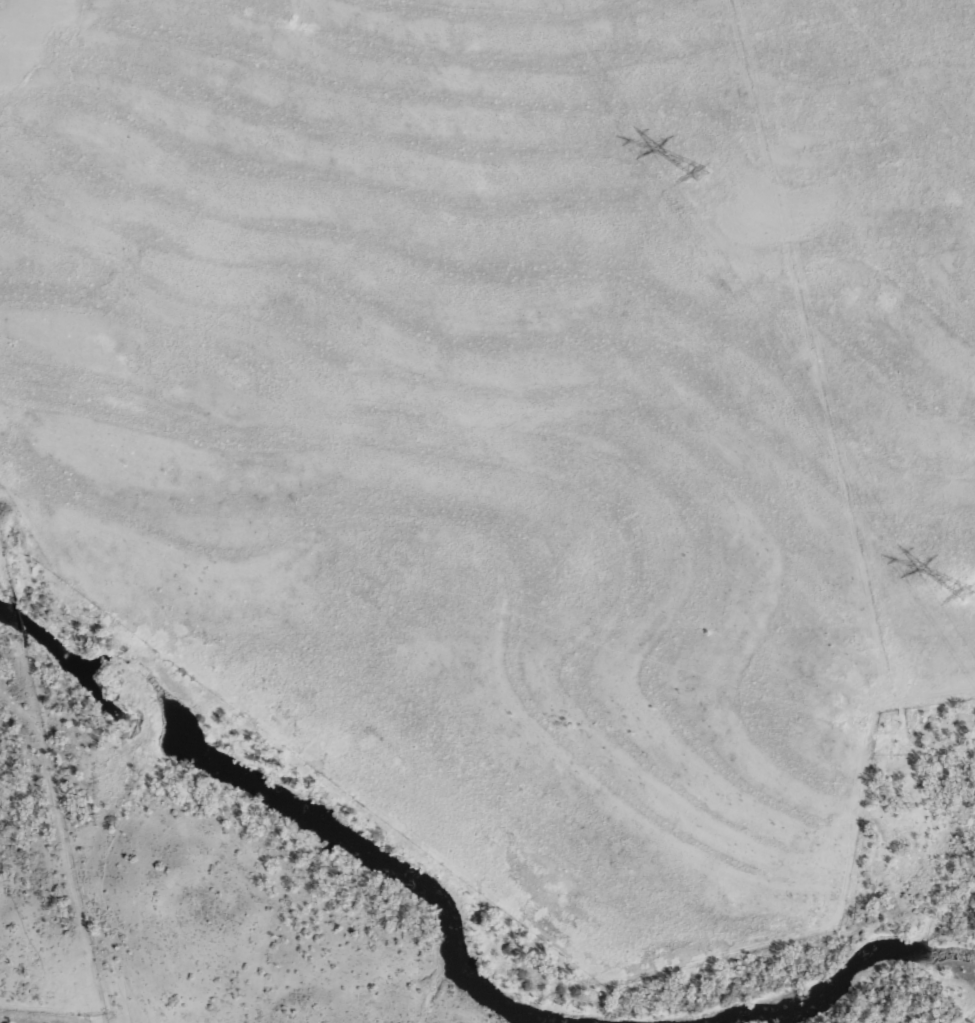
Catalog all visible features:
power tower: (699, 173)
power tower: (965, 591)

